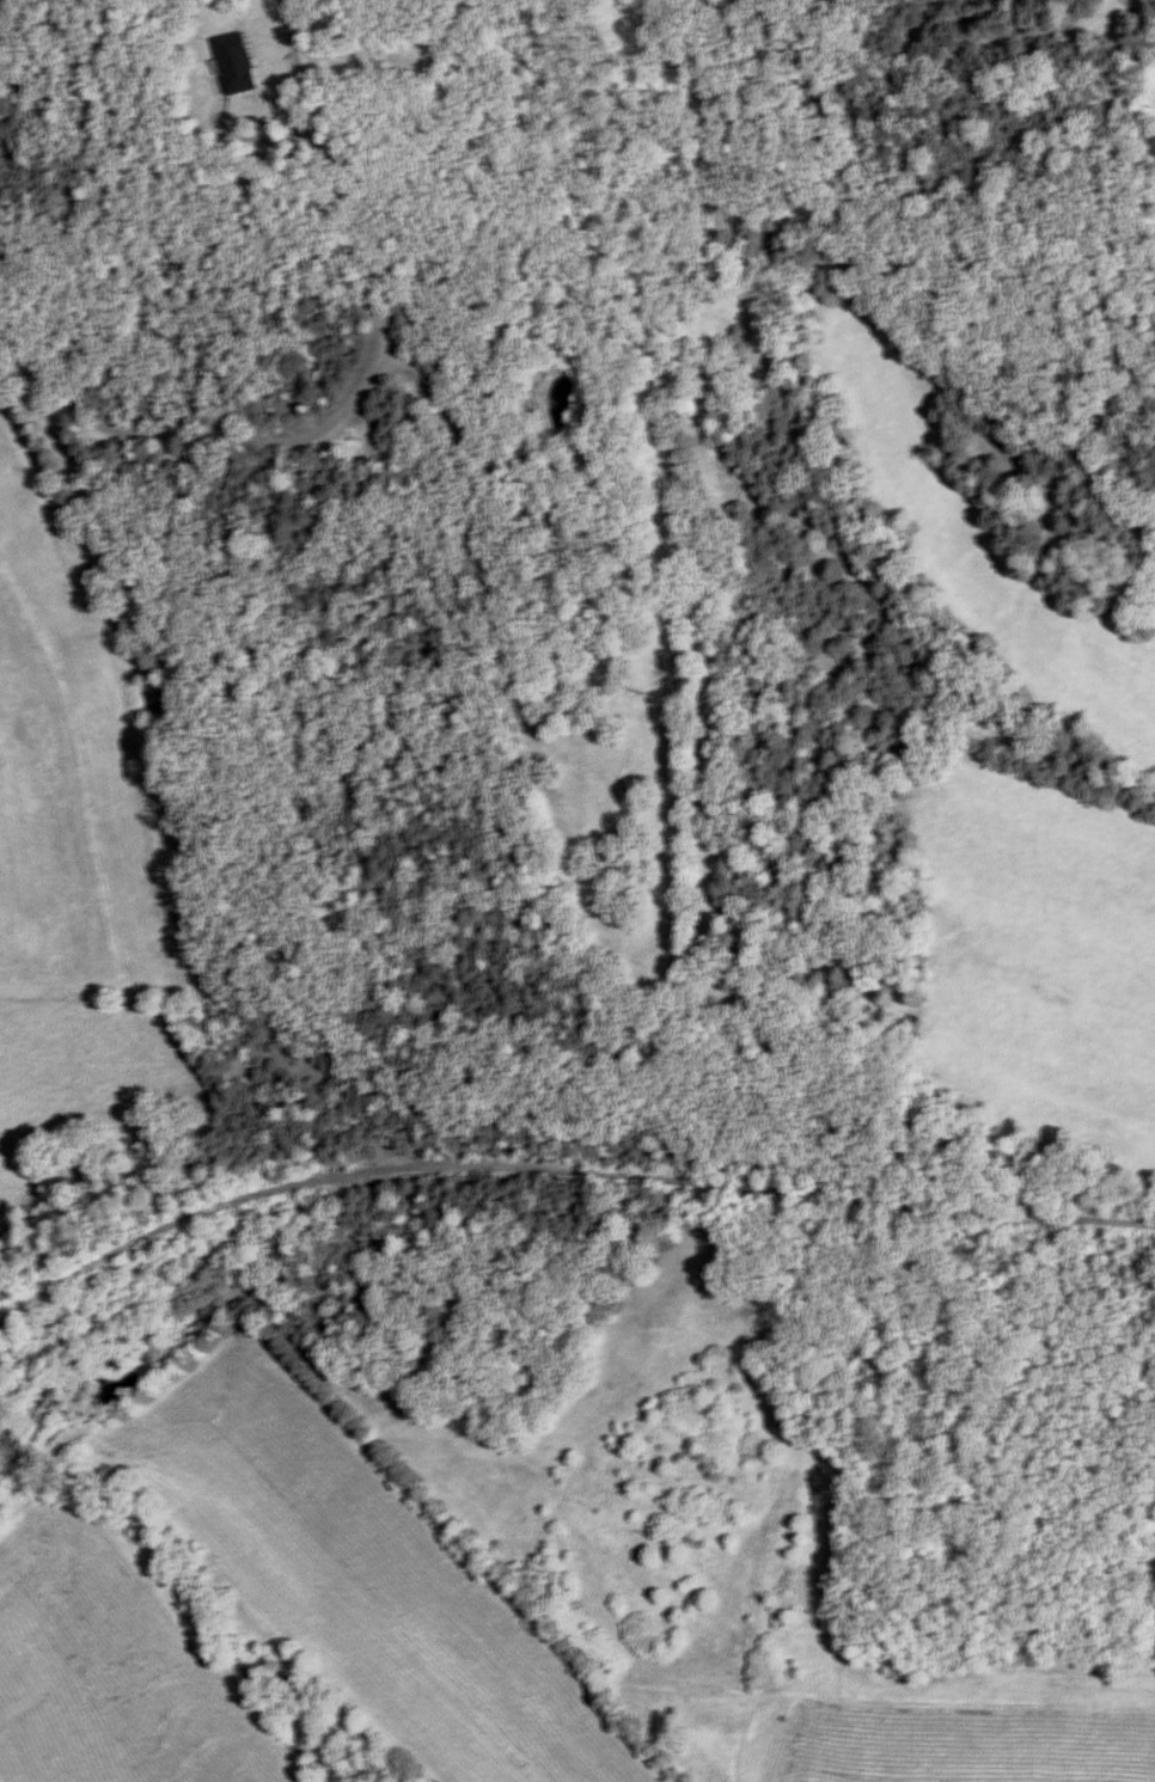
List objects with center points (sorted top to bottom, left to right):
building: (239, 62)
road: (389, 354)
building: (356, 443)

